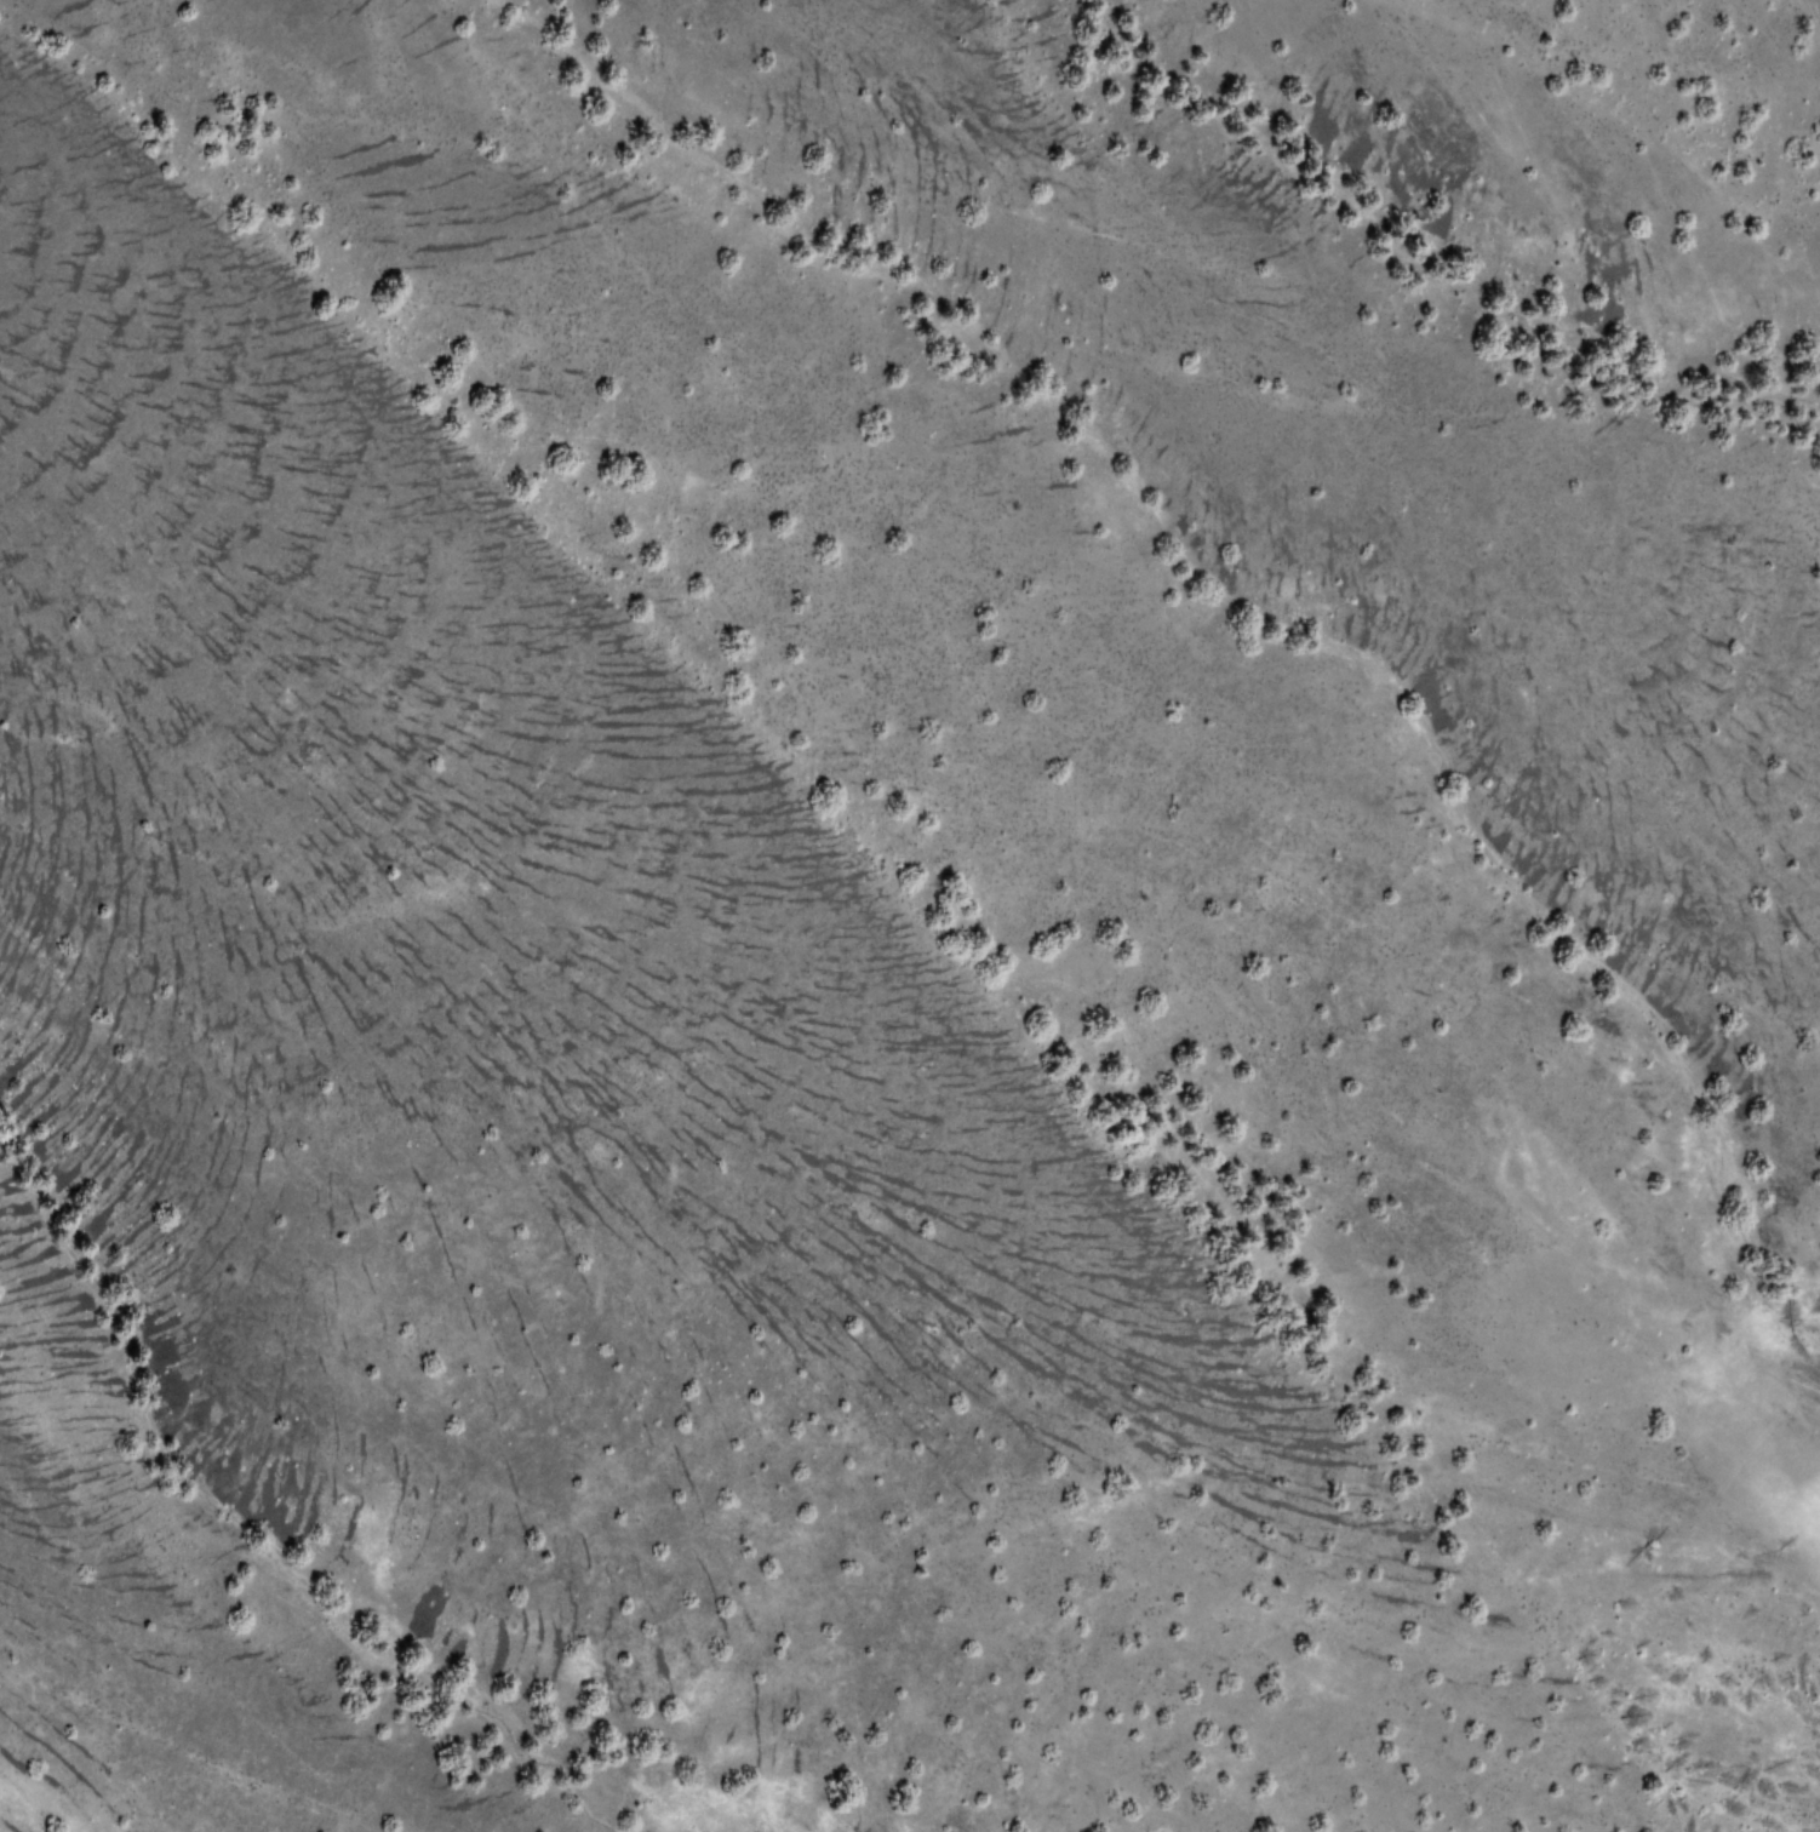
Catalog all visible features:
road: (1810, 25)

